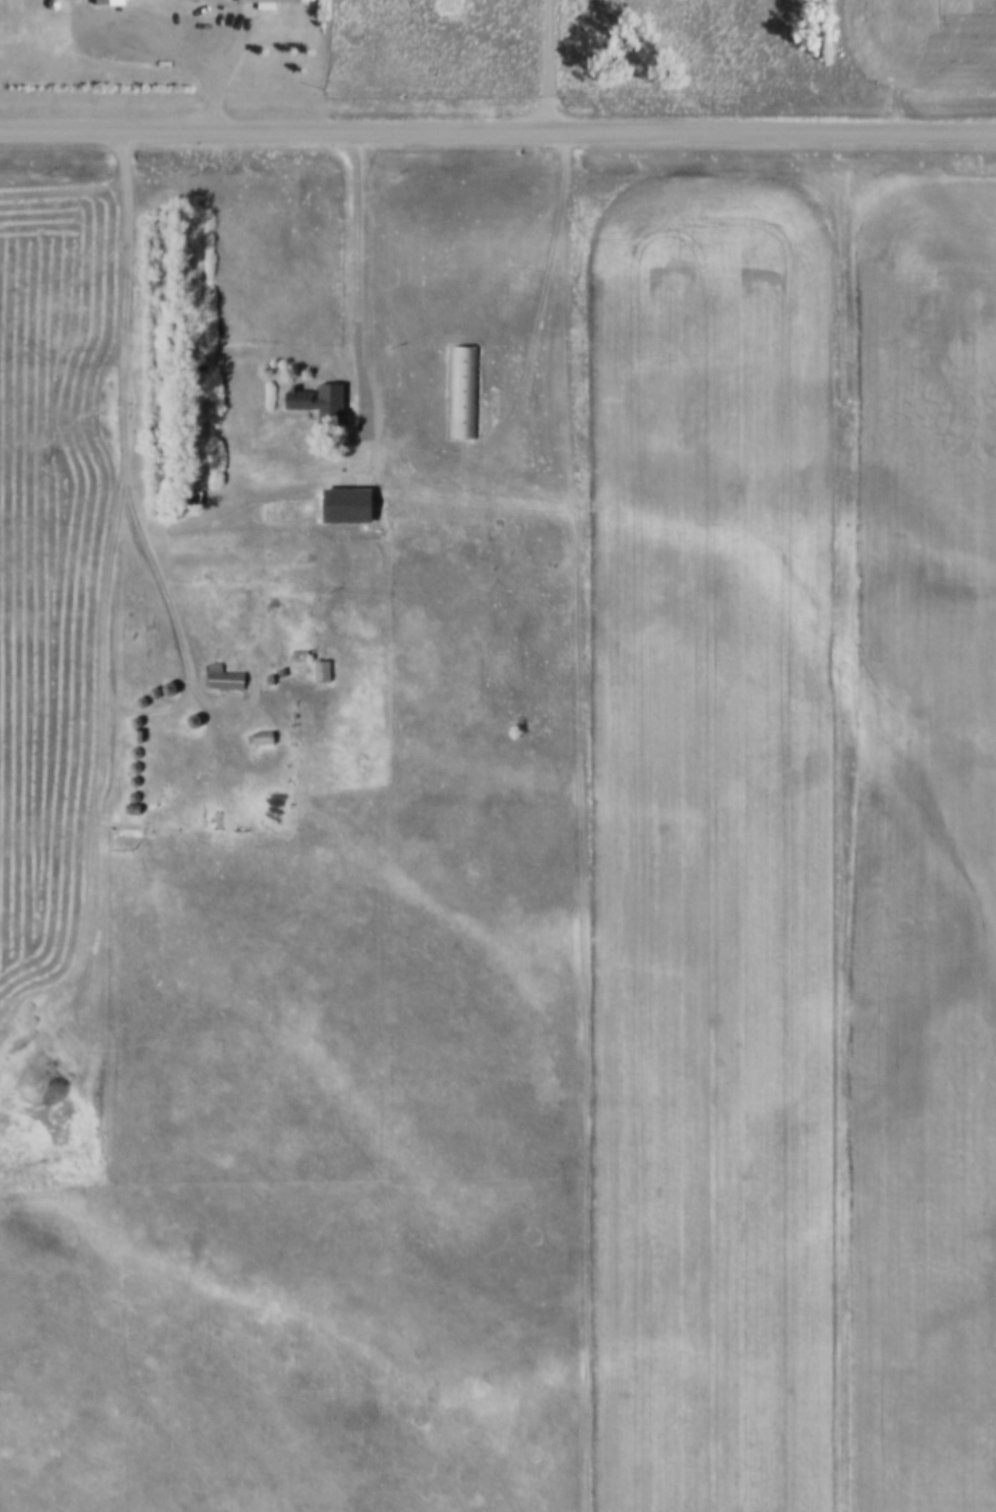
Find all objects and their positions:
building: (272, 1)
building: (59, 2)
silo: (59, 2)
building: (111, 2)
building: (447, 5)
road: (213, 32)
road: (546, 65)
road: (498, 131)
road: (358, 276)
road: (490, 286)
building: (469, 389)
building: (325, 400)
road: (124, 427)
building: (352, 499)
building: (306, 651)
building: (329, 667)
building: (287, 668)
building: (229, 674)
building: (276, 675)
building: (174, 684)
silo: (174, 684)
building: (160, 688)
silo: (160, 688)
building: (147, 697)
silo: (147, 697)
building: (199, 716)
silo: (199, 716)
building: (142, 718)
silo: (142, 718)
building: (142, 732)
building: (267, 734)
building: (141, 748)
silo: (141, 748)
building: (141, 763)
silo: (141, 763)
building: (140, 777)
silo: (140, 777)
building: (140, 792)
silo: (140, 792)
building: (139, 805)

